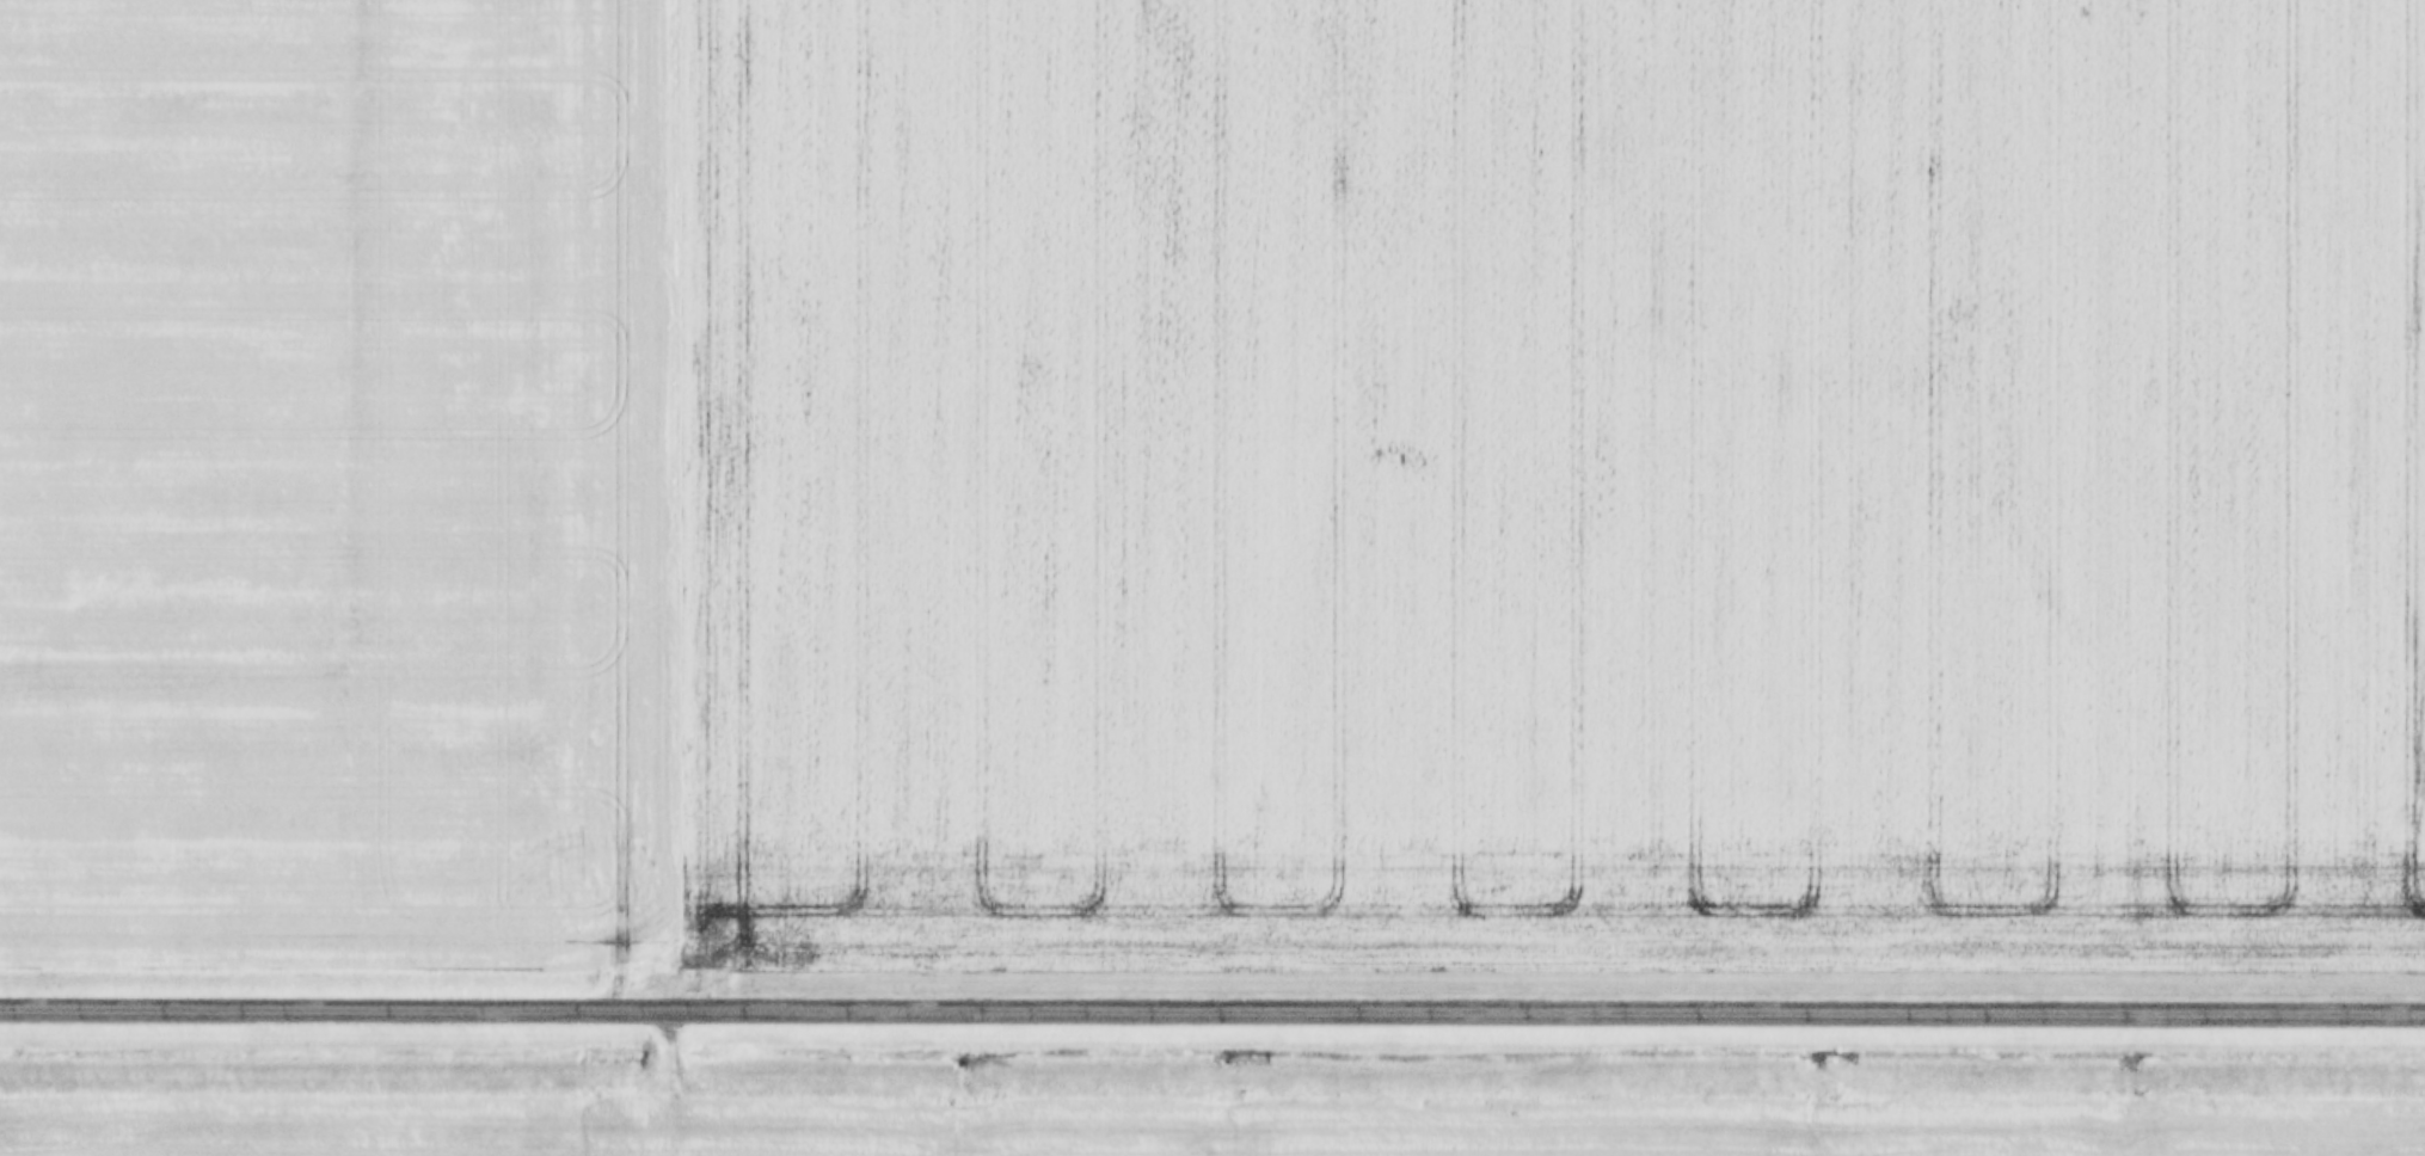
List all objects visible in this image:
road: (1211, 1011)

